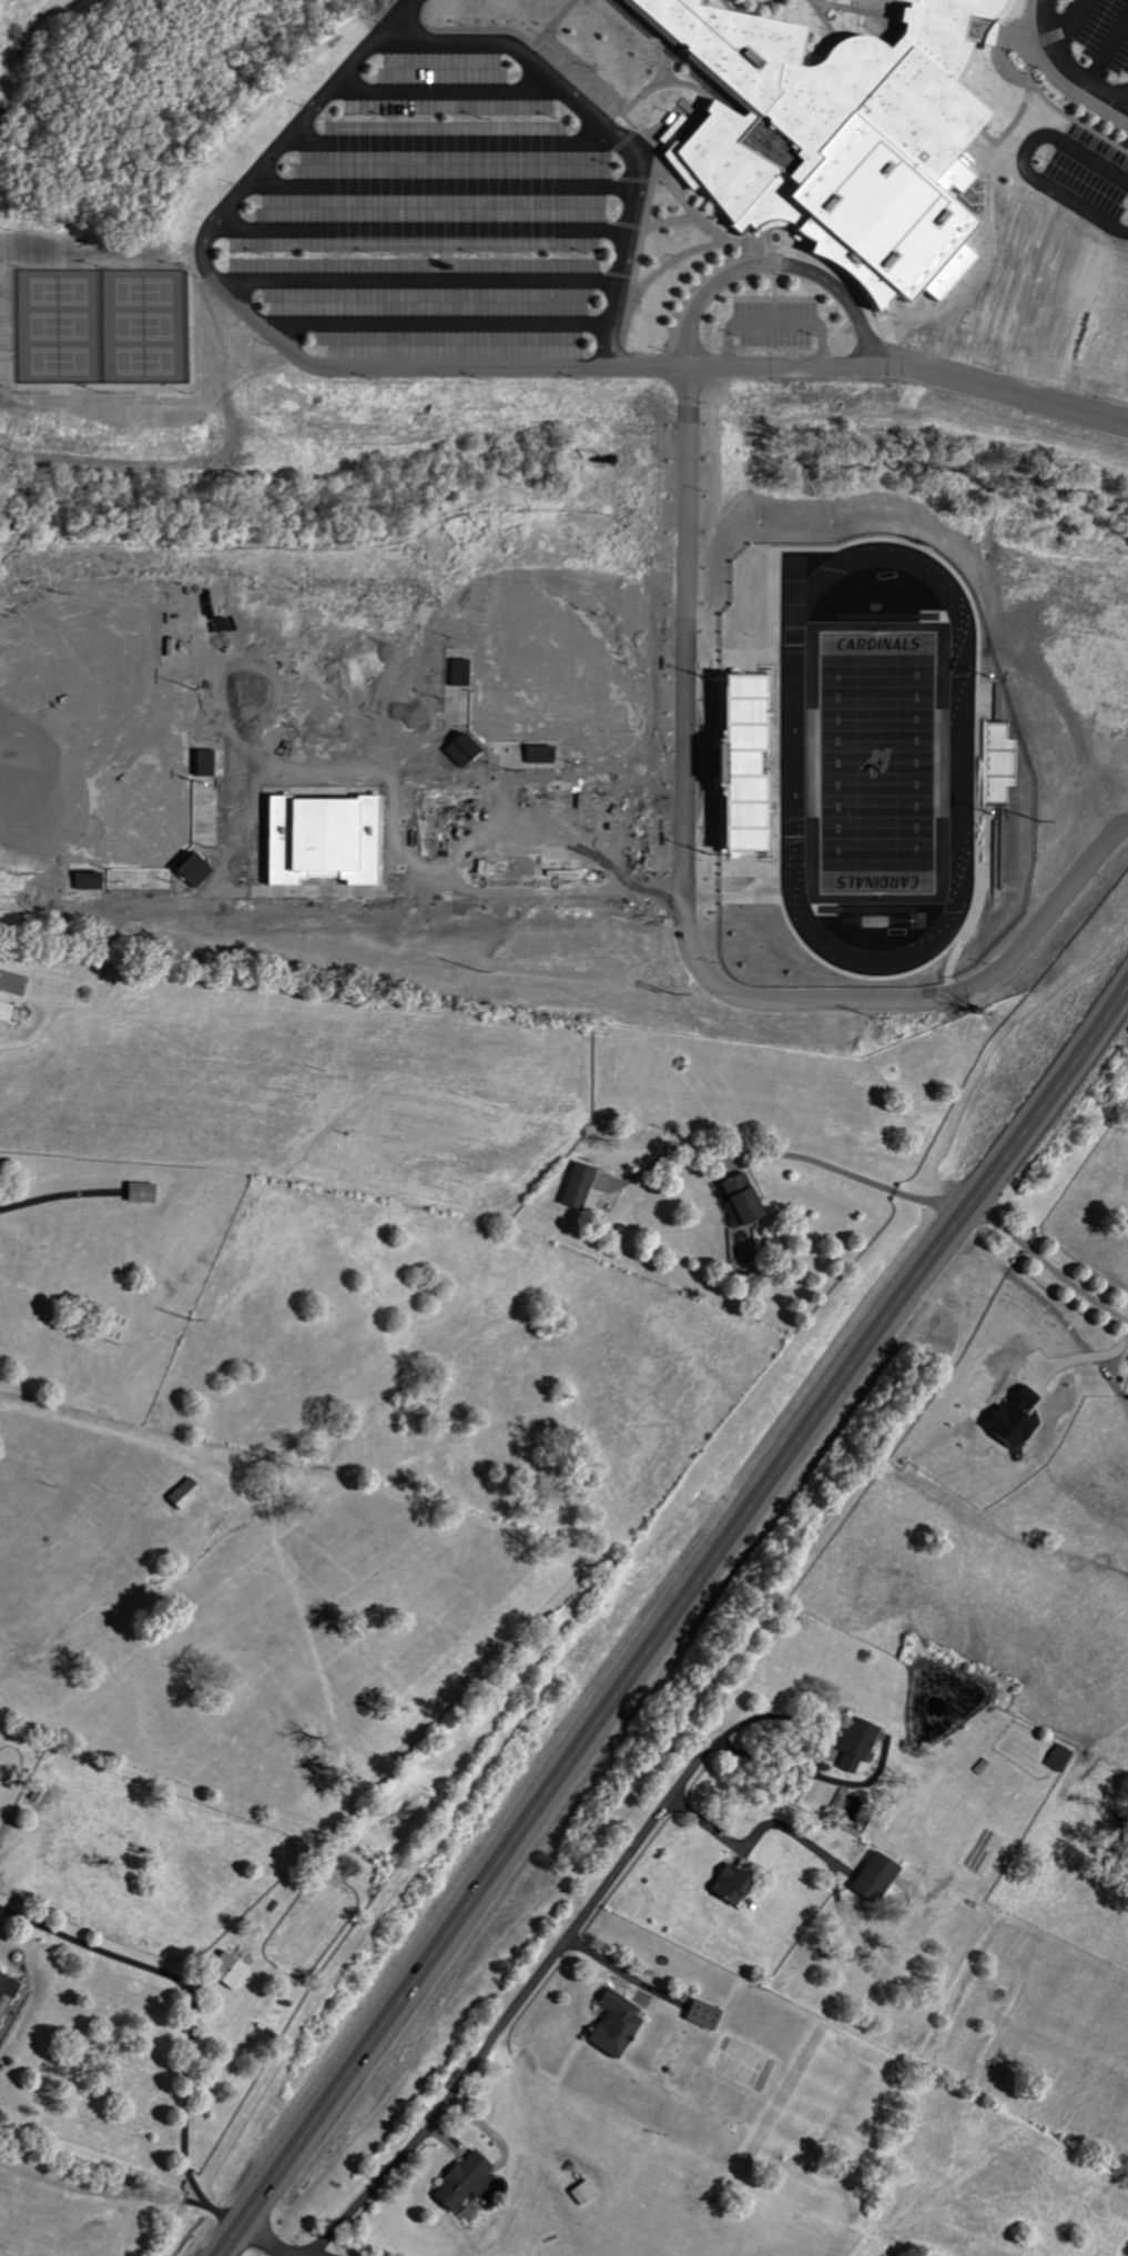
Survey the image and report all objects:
road: (1061, 68)
road: (431, 97)
building: (831, 127)
road: (602, 131)
road: (430, 149)
road: (1094, 165)
road: (1045, 189)
road: (424, 193)
road: (406, 234)
road: (773, 267)
road: (407, 285)
road: (425, 325)
road: (795, 325)
road: (477, 367)
building: (746, 760)
road: (678, 931)
building: (4, 1012)
road: (782, 1153)
building: (577, 1186)
building: (140, 1193)
building: (740, 1198)
road: (1046, 1265)
road: (1112, 1374)
building: (1010, 1419)
building: (183, 1494)
road: (673, 1618)
road: (810, 1732)
building: (853, 1744)
building: (1058, 1758)
road: (752, 1839)
building: (872, 1878)
building: (729, 1885)
building: (226, 1971)
road: (176, 1983)
building: (8, 1986)
road: (512, 2014)
building: (702, 2015)
building: (0, 2020)
building: (613, 2025)
building: (460, 2182)
road: (195, 2189)
building: (582, 2193)
road: (221, 2216)
road: (264, 2244)
road: (286, 2255)

